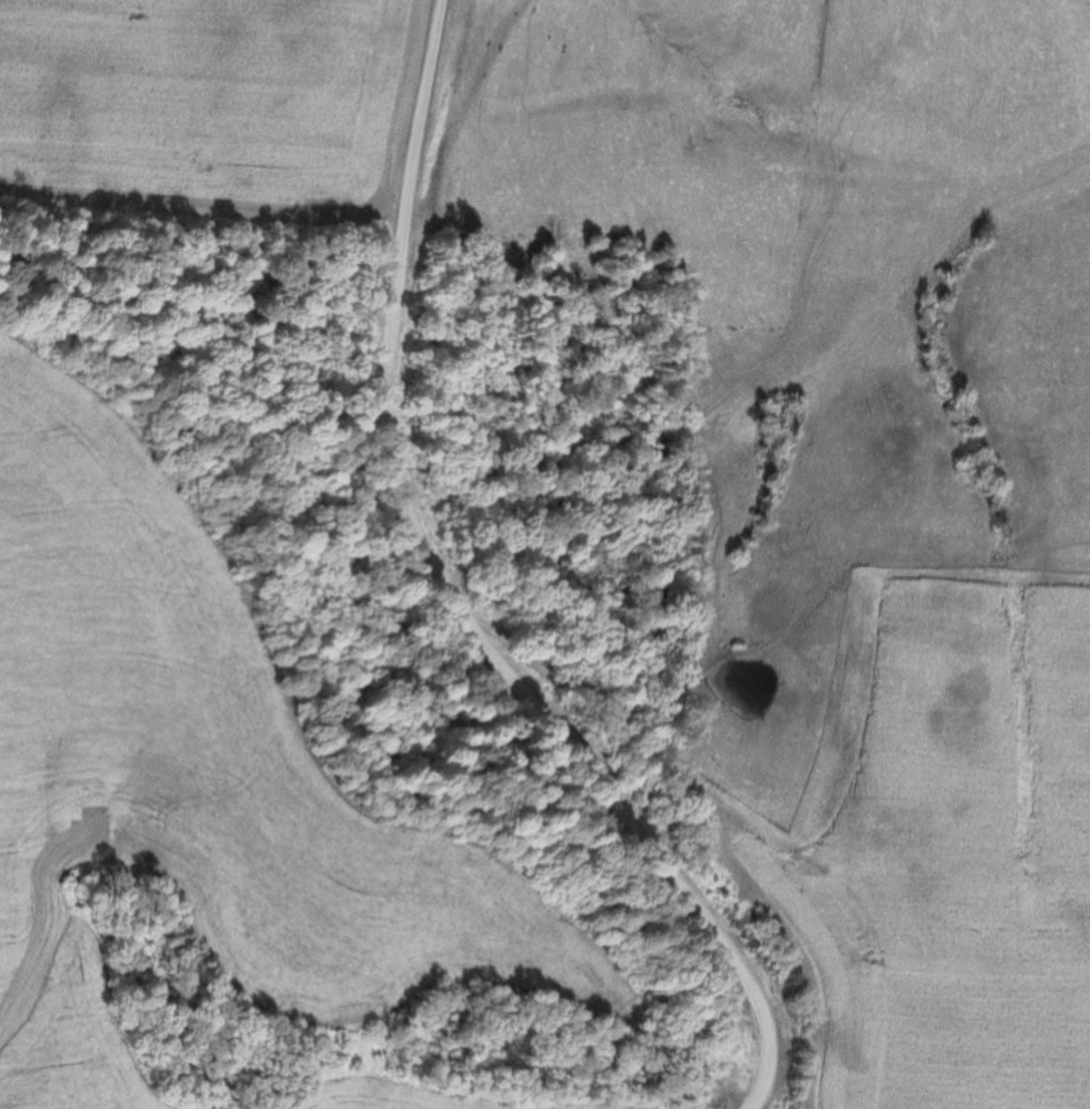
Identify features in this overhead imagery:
road: (444, 605)

